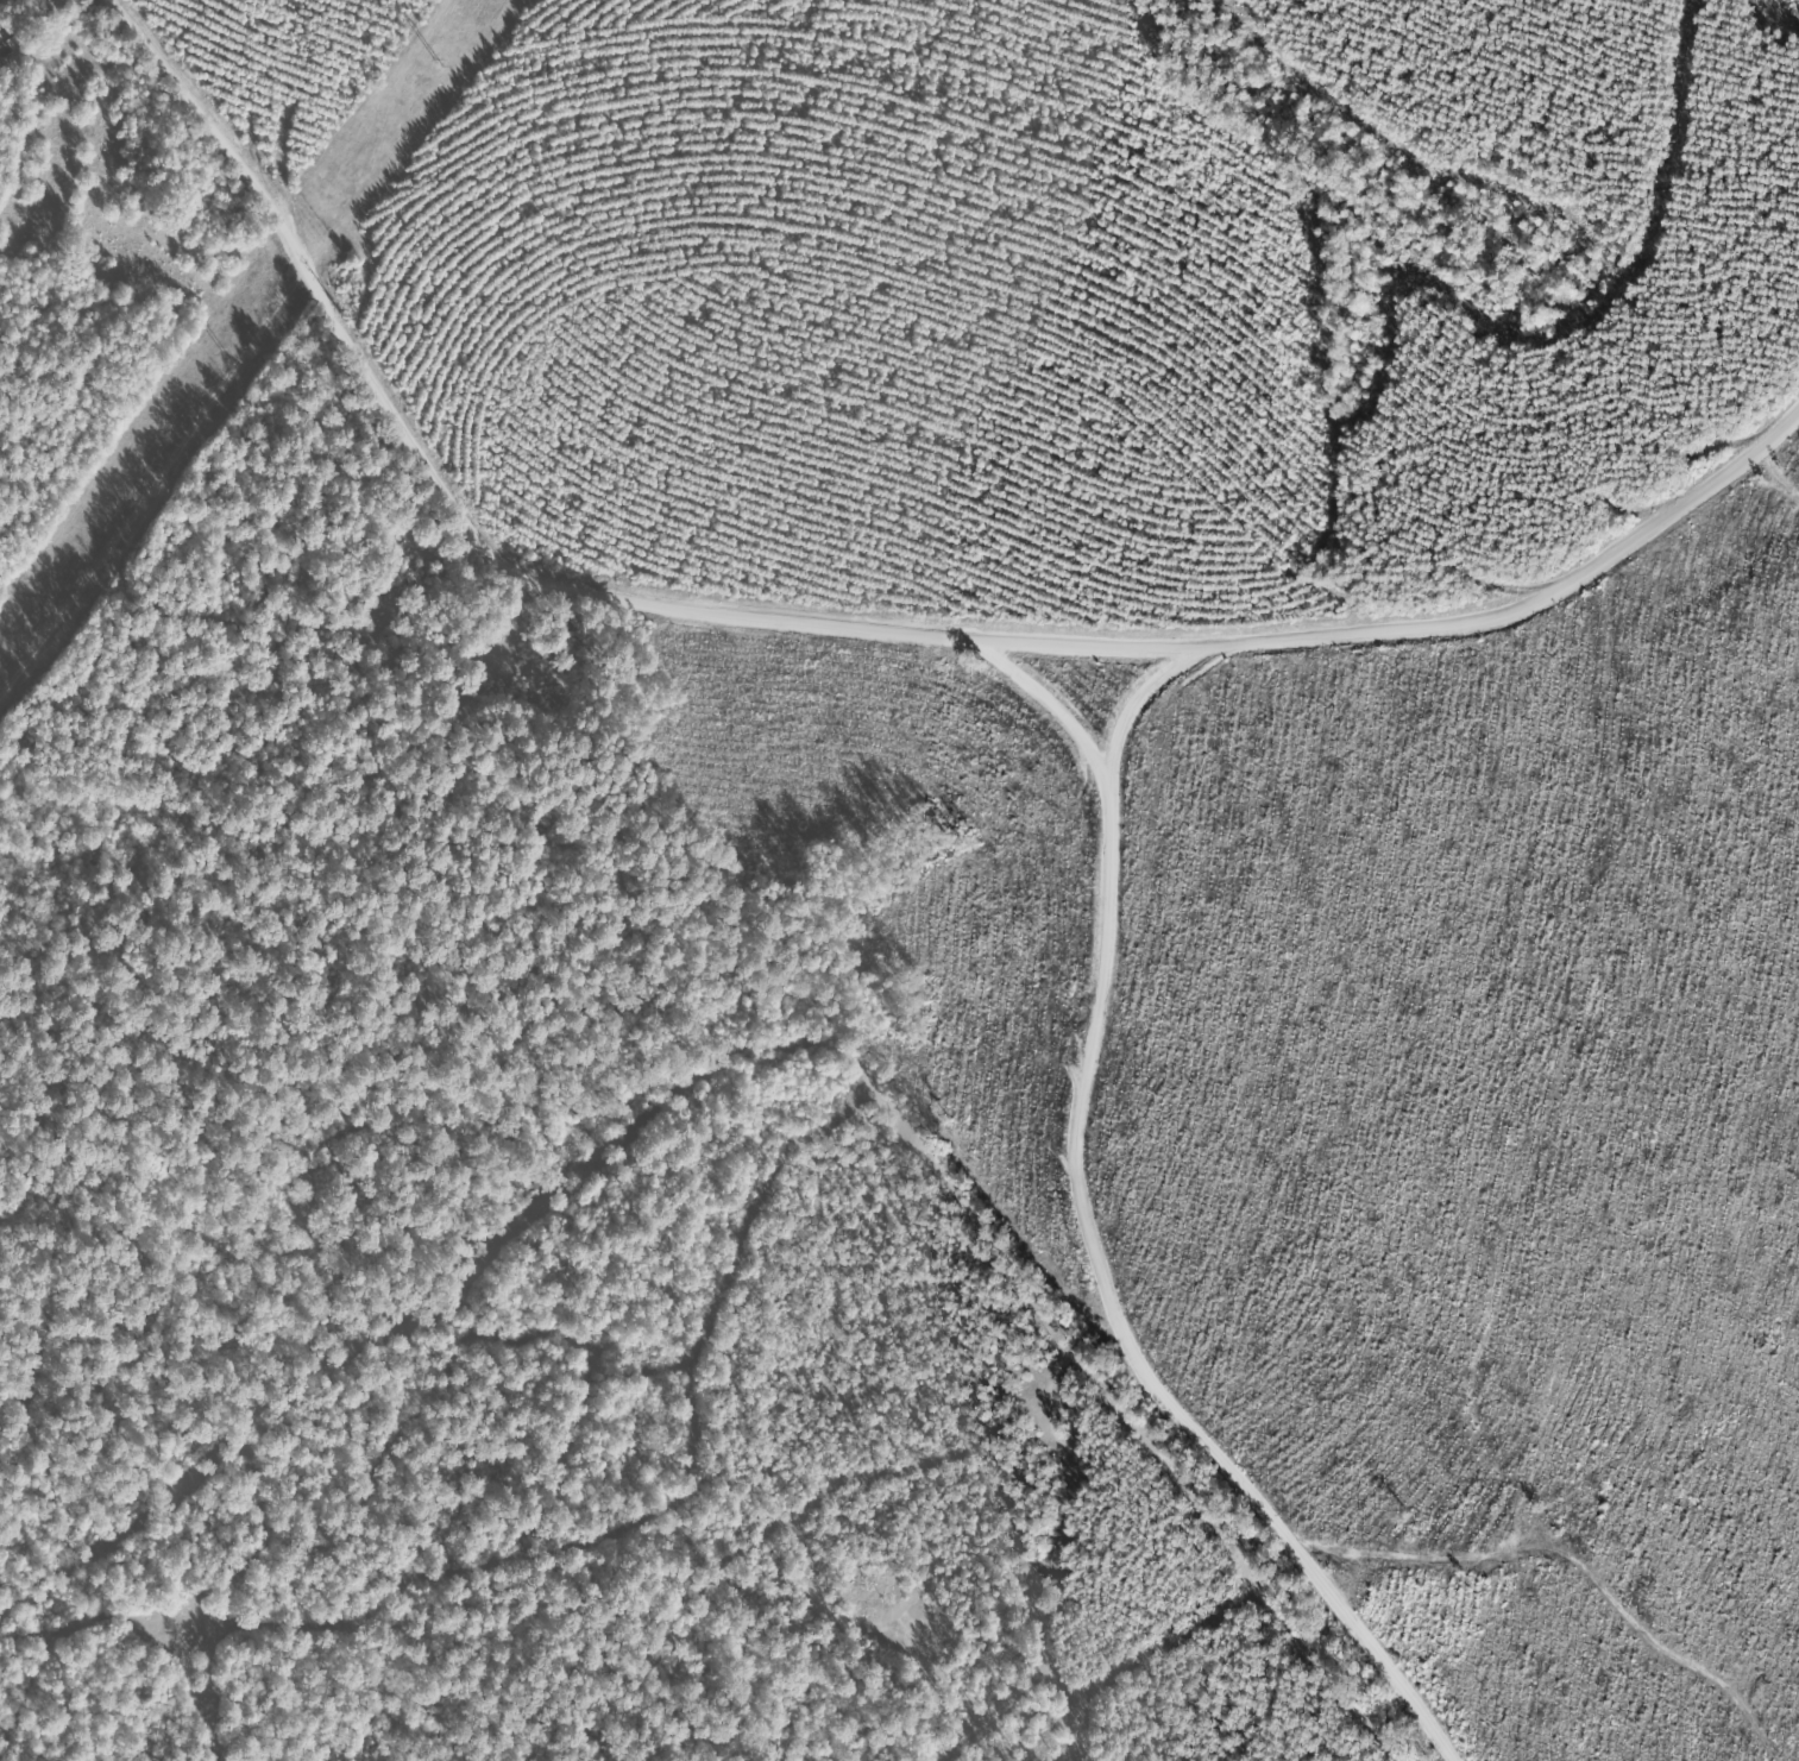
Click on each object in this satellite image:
building: (33, 11)
power tower: (436, 58)
power tower: (224, 352)
road: (838, 621)
road: (1029, 716)
road: (1078, 994)
road: (1143, 1344)

